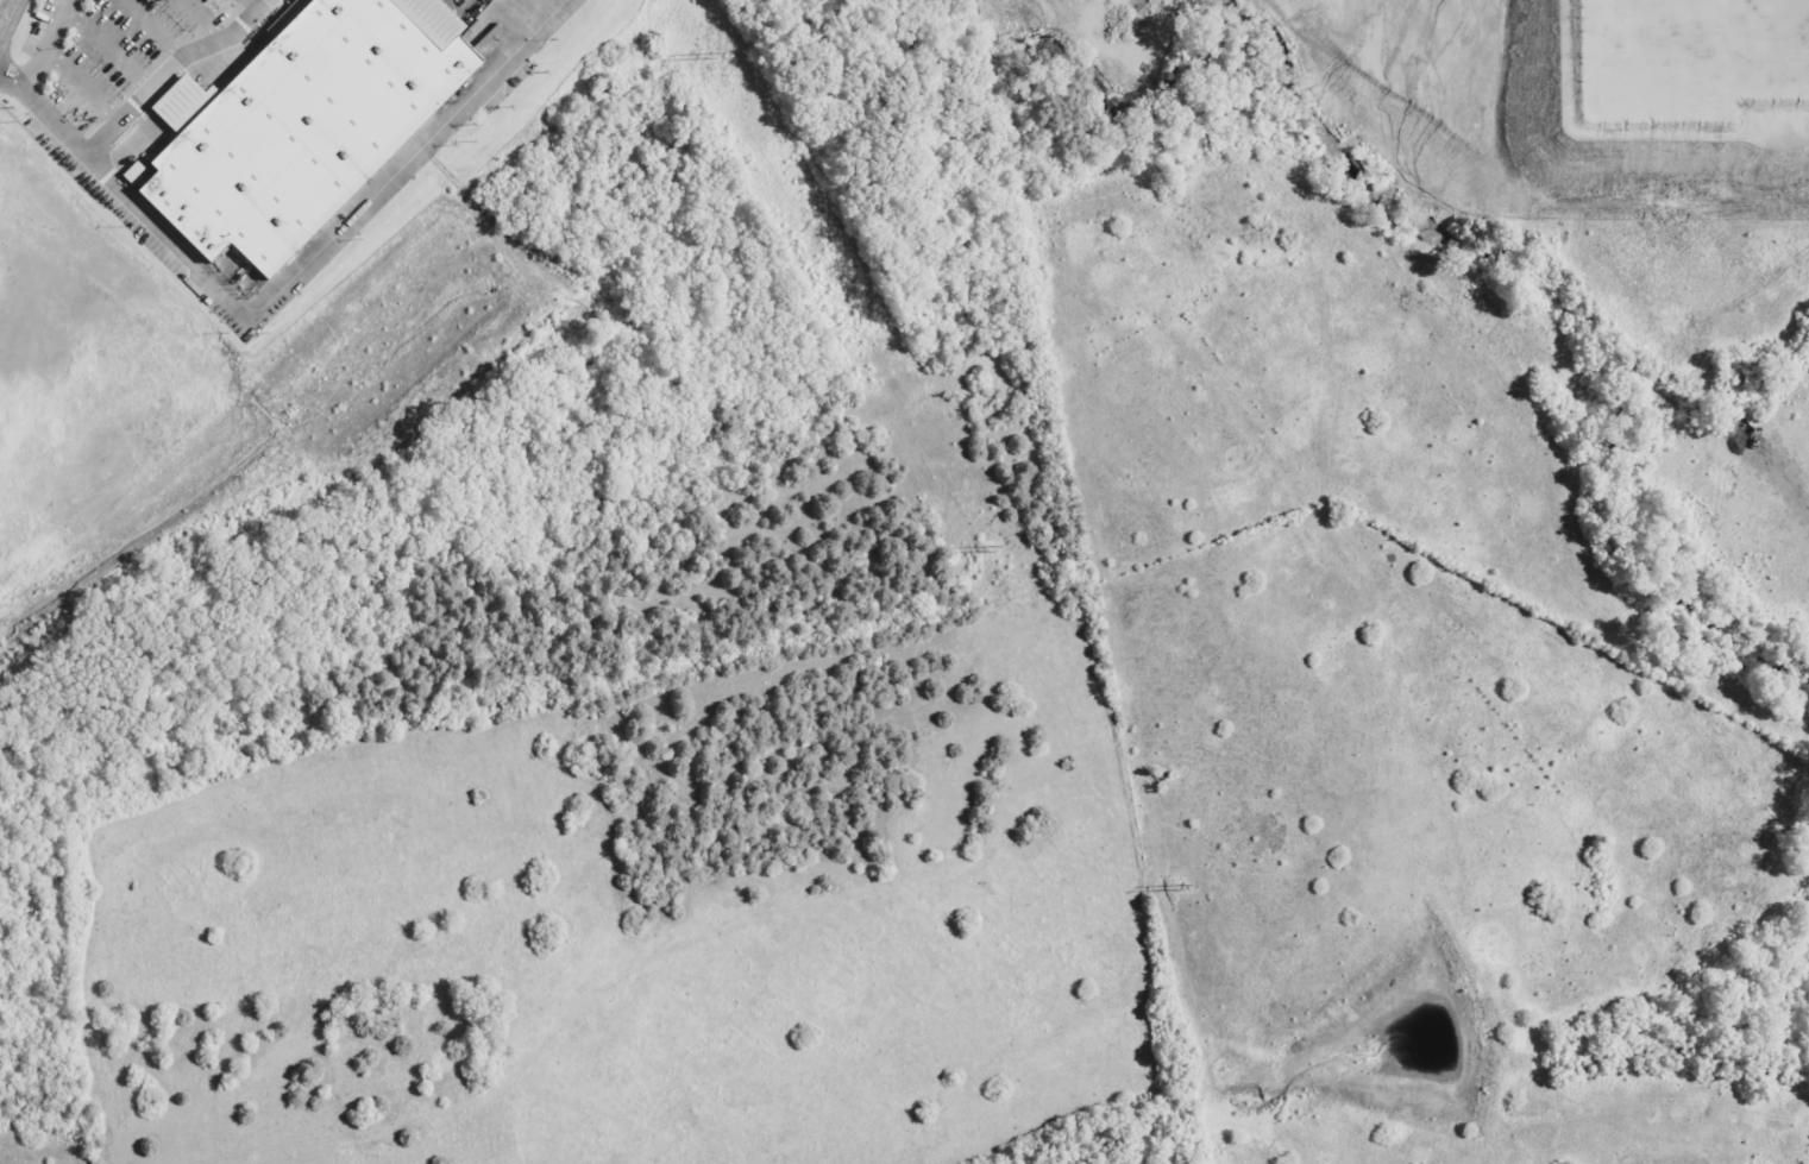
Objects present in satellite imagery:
road: (250, 2)
road: (7, 15)
road: (201, 18)
building: (1775, 29)
road: (153, 33)
building: (1657, 42)
road: (48, 48)
road: (112, 52)
power tower: (714, 57)
parking lot: (106, 74)
road: (84, 88)
road: (128, 121)
road: (1631, 125)
building: (300, 131)
road: (324, 244)
power tower: (988, 548)
power tower: (1176, 888)
road: (661, 956)
road: (334, 967)

